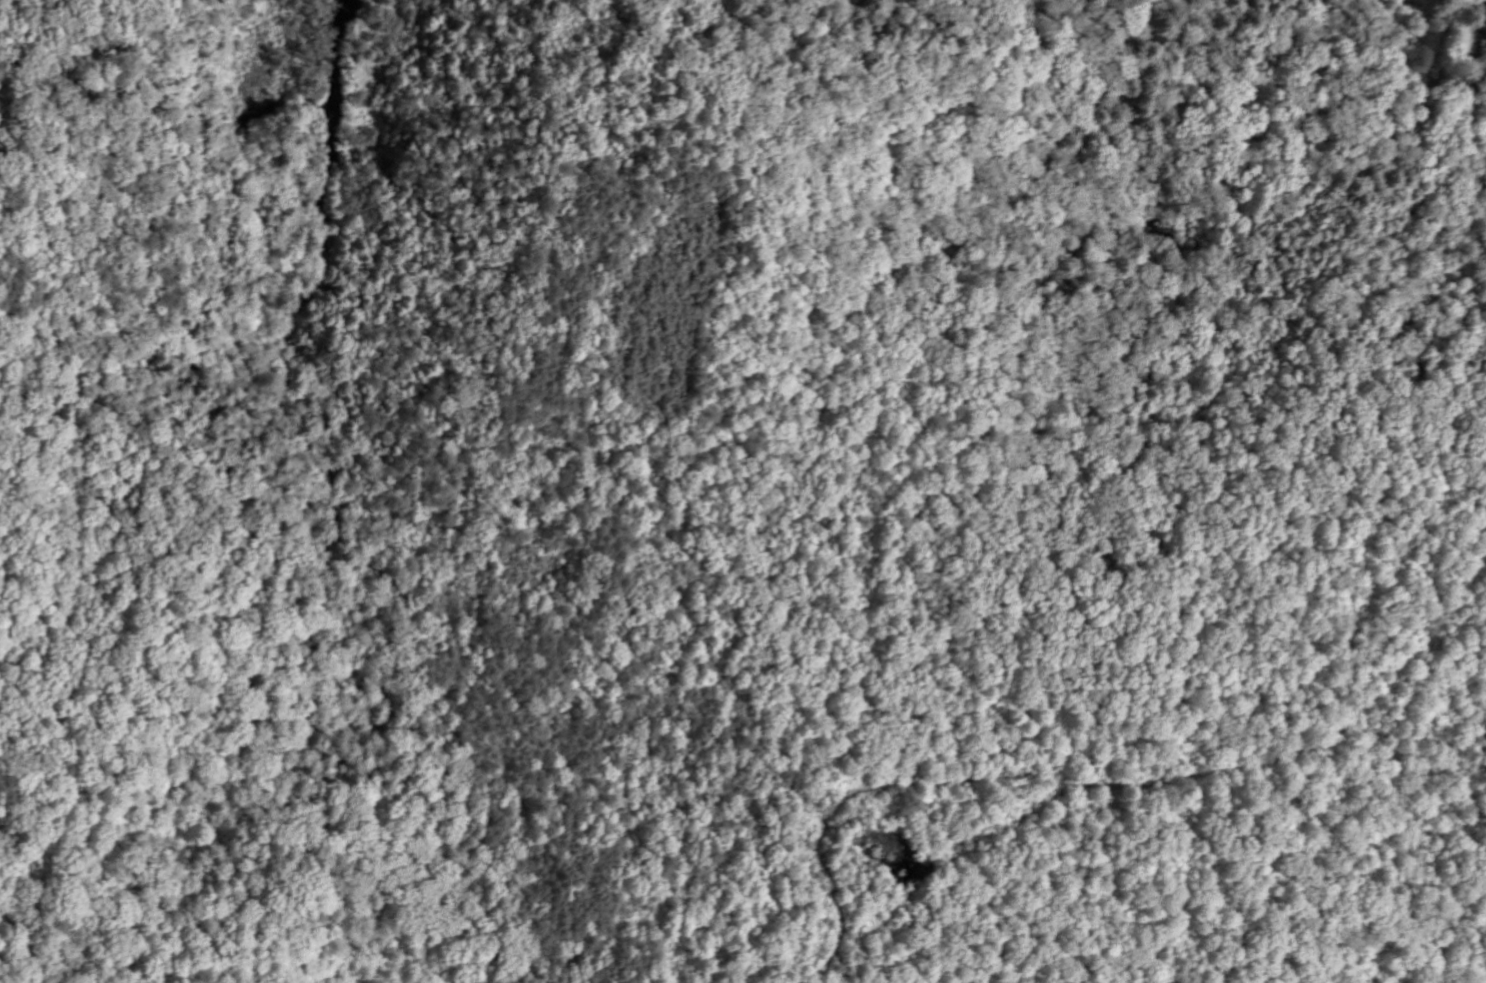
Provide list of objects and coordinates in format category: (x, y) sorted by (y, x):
road: (378, 213)
road: (1069, 779)
road: (26, 944)

